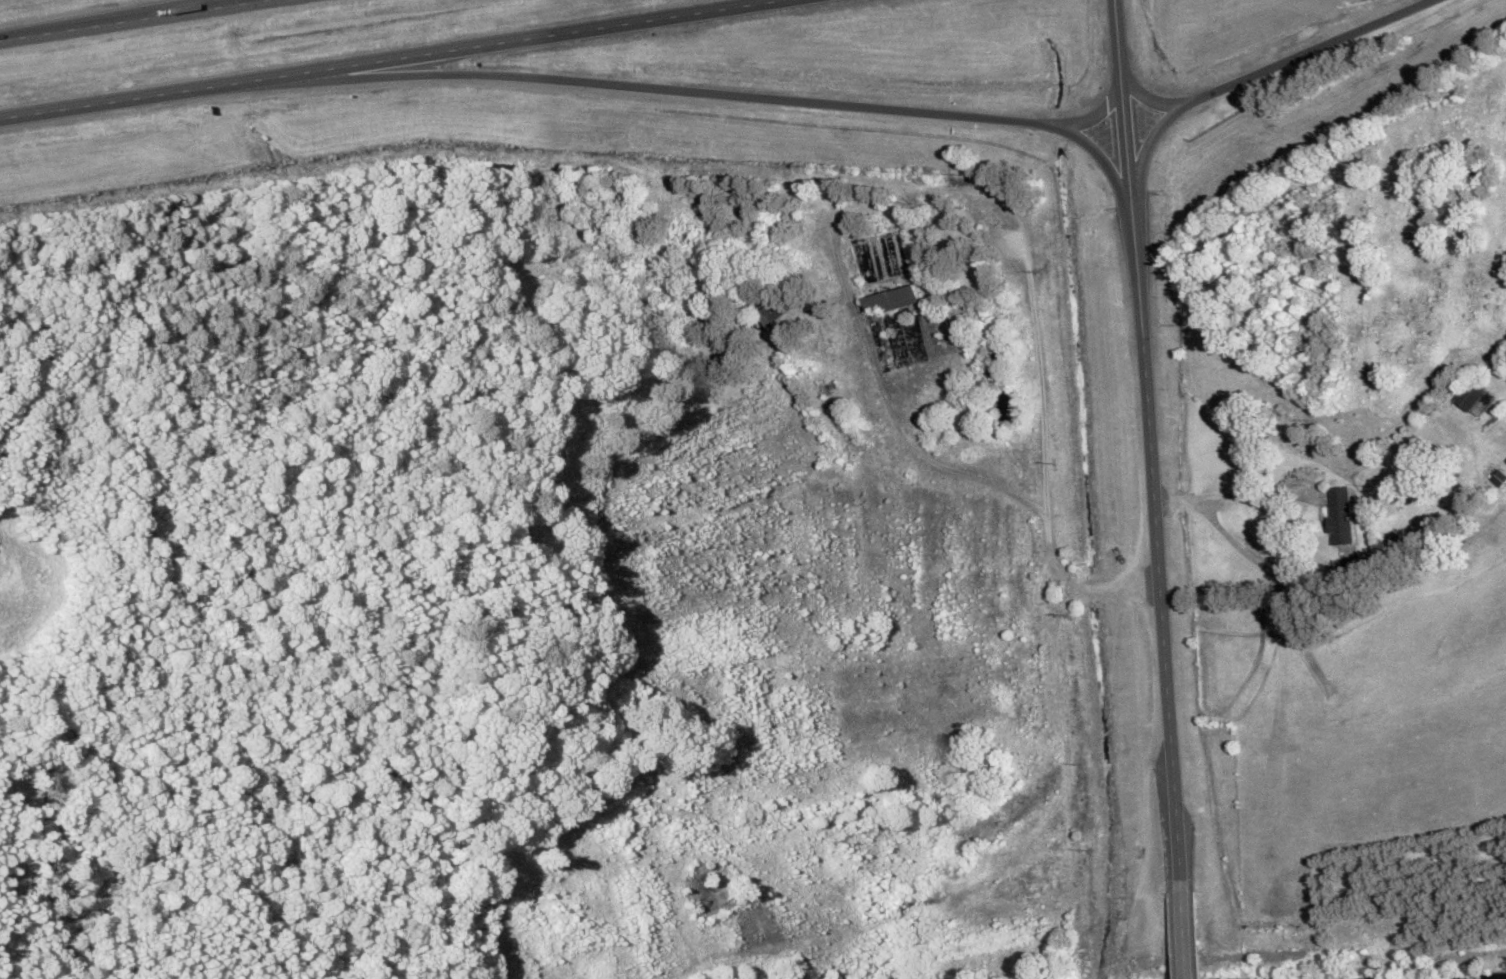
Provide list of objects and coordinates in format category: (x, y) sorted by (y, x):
road: (130, 20)
road: (395, 58)
road: (1253, 74)
road: (687, 90)
road: (1150, 98)
road: (1099, 112)
road: (967, 188)
building: (884, 269)
building: (774, 310)
building: (1475, 397)
road: (1149, 438)
building: (1342, 514)
road: (1186, 928)

